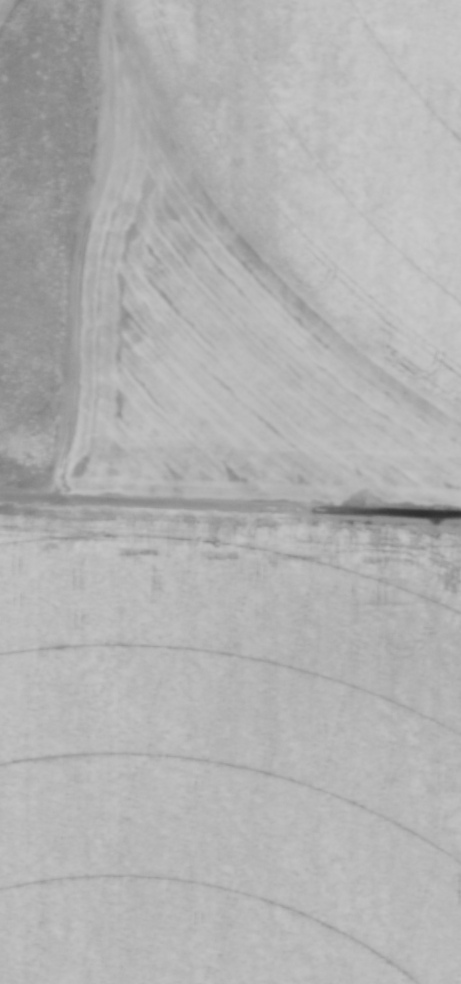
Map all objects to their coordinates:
crop: (4, 6)
crop: (223, 665)

